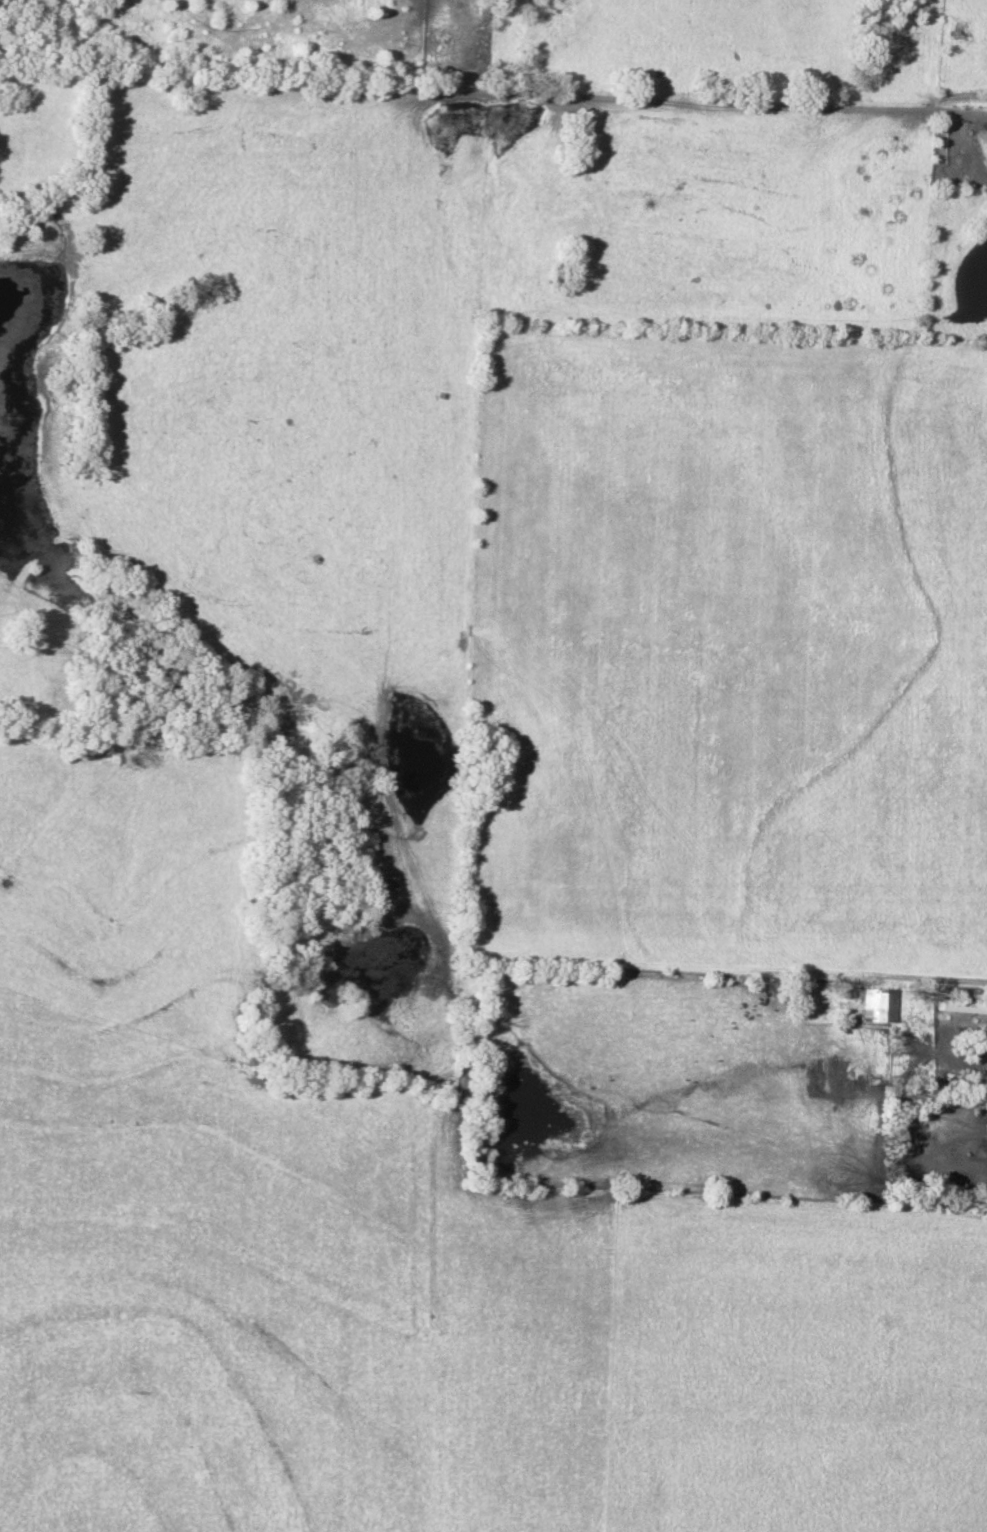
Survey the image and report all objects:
building: (876, 1004)
building: (961, 1005)

